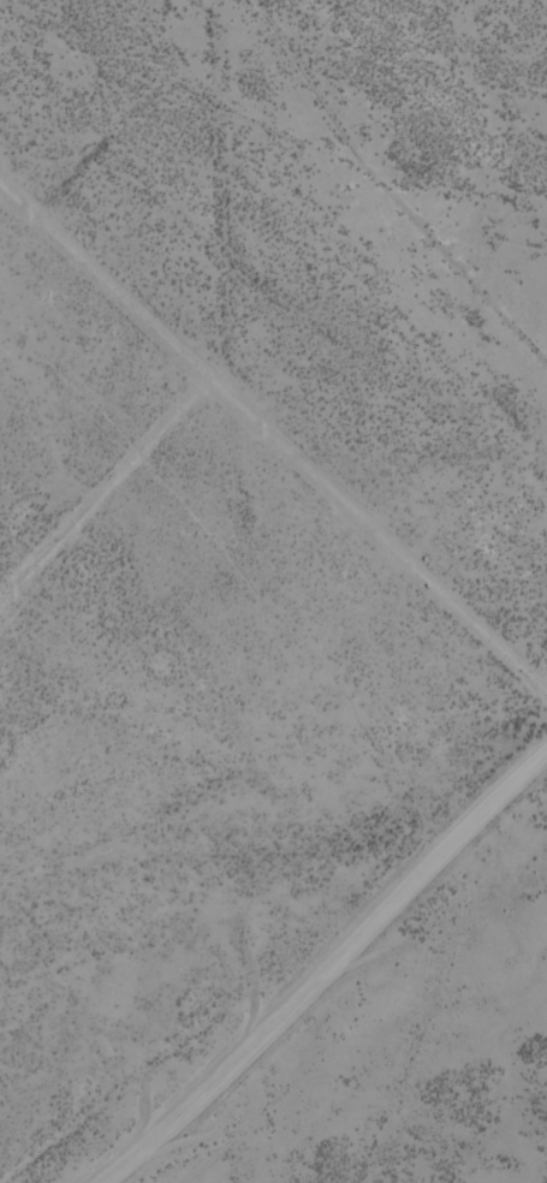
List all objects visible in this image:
road: (322, 992)

